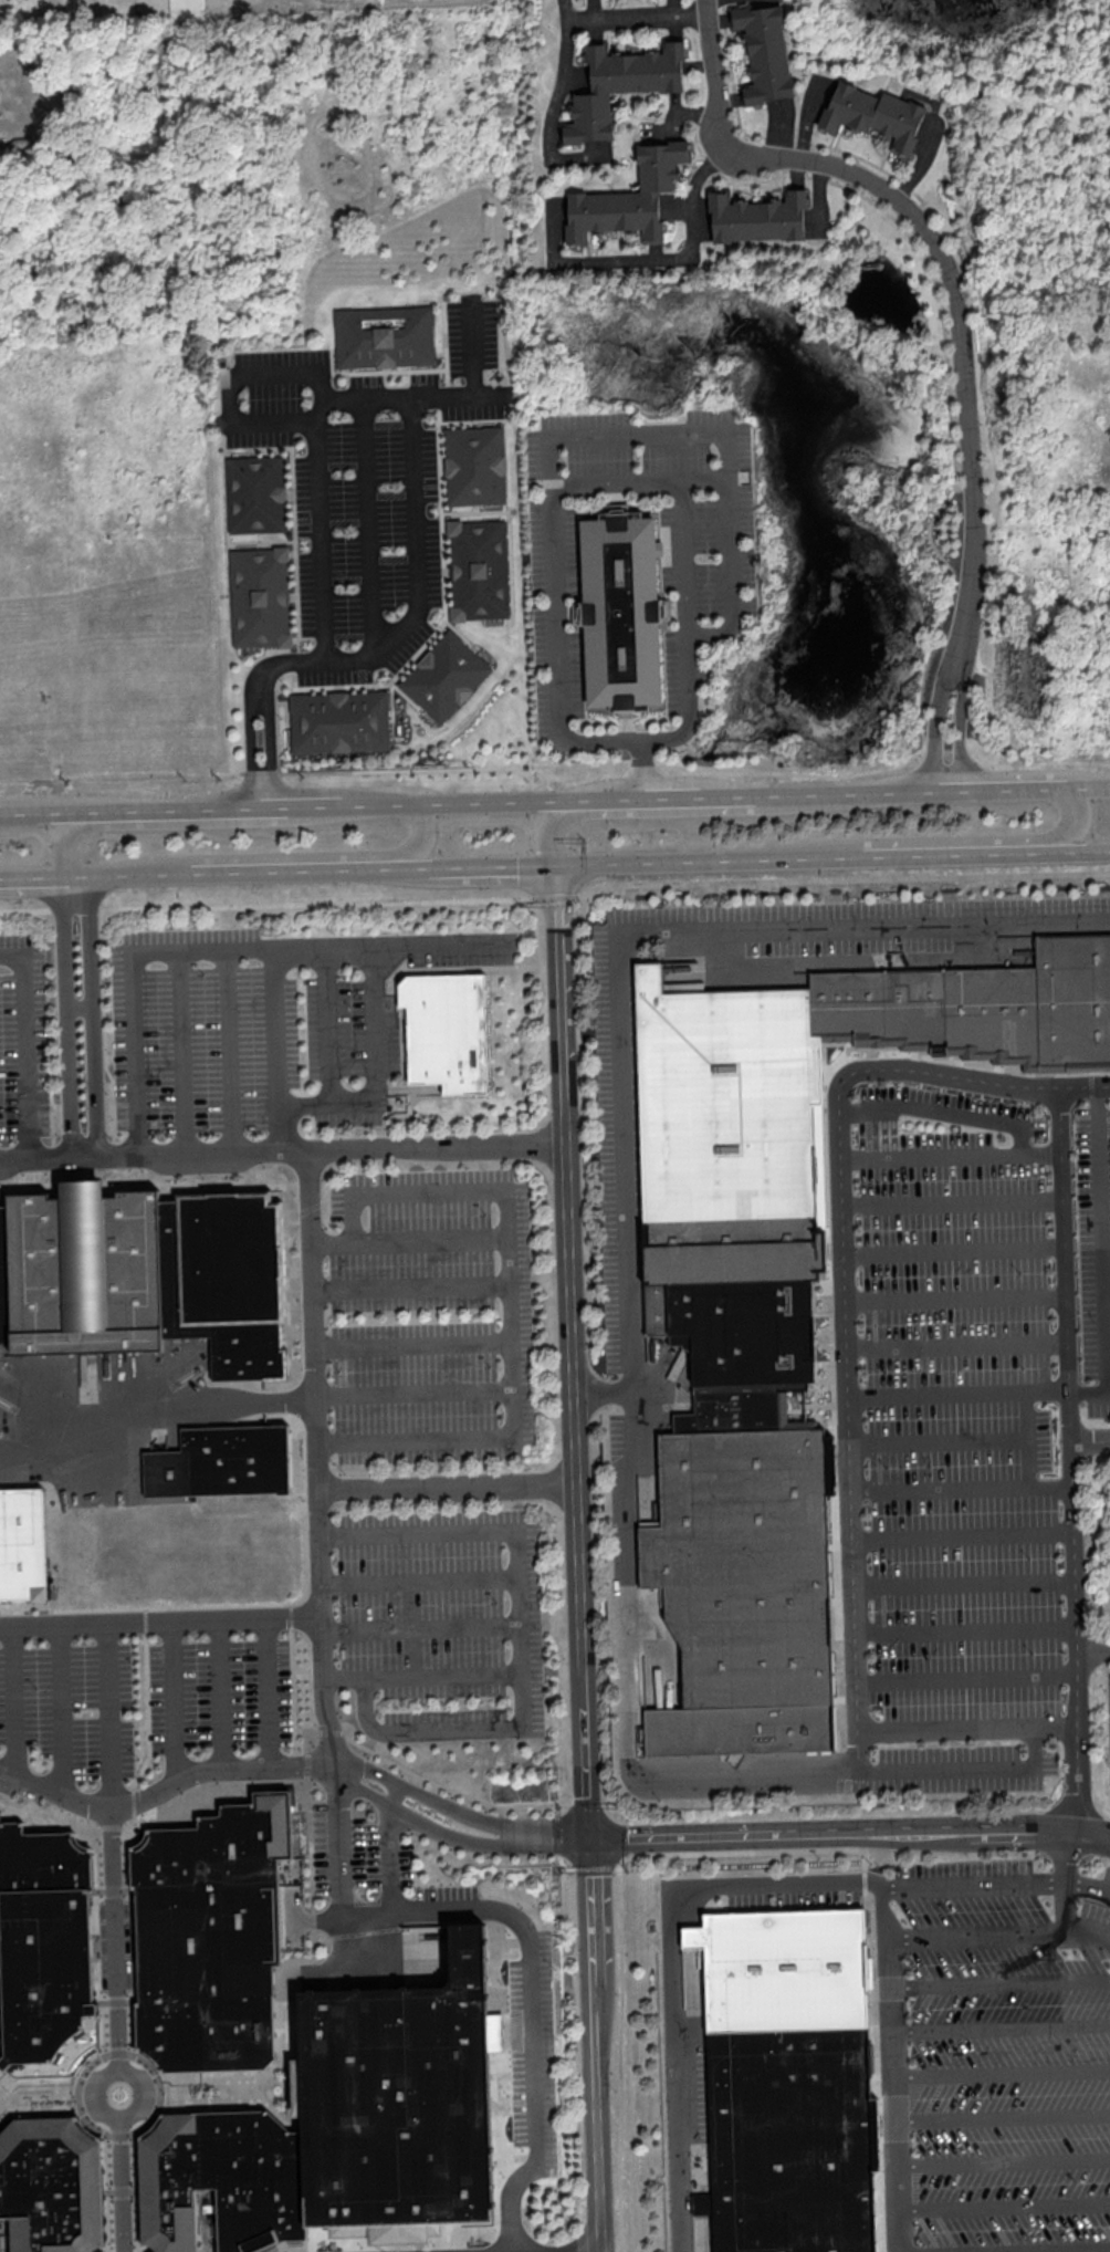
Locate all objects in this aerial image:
road: (629, 13)
building: (765, 52)
building: (621, 84)
road: (561, 85)
road: (304, 95)
building: (873, 114)
road: (790, 140)
road: (388, 189)
road: (350, 197)
building: (630, 198)
building: (757, 217)
road: (684, 257)
road: (941, 259)
road: (939, 300)
building: (385, 335)
road: (472, 345)
road: (227, 383)
road: (459, 394)
road: (408, 403)
road: (726, 441)
building: (475, 463)
road: (638, 479)
building: (255, 493)
road: (369, 522)
road: (683, 556)
building: (479, 570)
building: (260, 597)
building: (622, 612)
road: (557, 650)
road: (955, 667)
building: (444, 676)
road: (688, 707)
road: (250, 720)
building: (339, 721)
road: (269, 727)
road: (621, 761)
road: (640, 768)
road: (1080, 784)
road: (1003, 786)
road: (855, 790)
road: (700, 794)
road: (608, 796)
road: (454, 800)
road: (313, 802)
road: (188, 804)
road: (44, 807)
road: (1077, 817)
road: (548, 832)
road: (428, 833)
road: (69, 843)
road: (1080, 851)
road: (955, 854)
road: (708, 865)
road: (432, 869)
road: (304, 870)
road: (503, 870)
traffic signals: (556, 873)
road: (125, 874)
road: (30, 877)
road: (556, 896)
road: (219, 949)
road: (734, 974)
road: (697, 977)
road: (81, 1008)
road: (66, 1015)
road: (96, 1015)
road: (375, 1023)
road: (324, 1024)
building: (447, 1030)
parking lot: (206, 1033)
parking lot: (25, 1041)
road: (24, 1046)
road: (274, 1049)
road: (228, 1051)
road: (181, 1052)
road: (327, 1103)
road: (942, 1112)
road: (284, 1150)
road: (950, 1154)
road: (385, 1197)
road: (951, 1199)
road: (628, 1222)
road: (1101, 1237)
road: (409, 1240)
road: (953, 1247)
road: (1064, 1264)
building: (146, 1275)
road: (1106, 1282)
road: (410, 1286)
road: (842, 1289)
road: (954, 1295)
building: (783, 1296)
parking lot: (431, 1316)
road: (412, 1343)
road: (955, 1344)
road: (1089, 1388)
road: (956, 1390)
road: (607, 1391)
road: (413, 1393)
road: (151, 1409)
road: (514, 1411)
parking lot: (970, 1425)
road: (1026, 1437)
road: (936, 1439)
road: (316, 1458)
building: (222, 1463)
road: (1049, 1484)
road: (939, 1485)
road: (447, 1488)
road: (962, 1533)
building: (25, 1546)
road: (578, 1562)
road: (419, 1581)
road: (963, 1581)
parking lot: (444, 1615)
road: (1075, 1616)
road: (161, 1620)
road: (965, 1628)
road: (421, 1631)
road: (1093, 1652)
road: (966, 1676)
road: (345, 1677)
road: (269, 1691)
road: (221, 1693)
road: (14, 1701)
road: (175, 1701)
road: (60, 1708)
road: (521, 1710)
road: (109, 1714)
road: (966, 1728)
road: (334, 1731)
road: (308, 1734)
road: (310, 1766)
road: (965, 1768)
road: (446, 1786)
road: (310, 1789)
road: (161, 1790)
road: (395, 1794)
road: (455, 1811)
road: (111, 1827)
road: (849, 1833)
road: (450, 1835)
traffic signals: (588, 1839)
road: (562, 1863)
road: (999, 1886)
road: (1066, 1886)
road: (777, 1890)
road: (97, 1893)
road: (352, 1907)
road: (321, 1918)
road: (1089, 1931)
road: (980, 1933)
building: (212, 1935)
road: (115, 1941)
building: (45, 1952)
building: (690, 1958)
road: (1002, 1982)
road: (531, 2012)
road: (1002, 2025)
parking lot: (994, 2040)
road: (620, 2060)
road: (90, 2064)
road: (1002, 2073)
road: (107, 2078)
building: (792, 2079)
road: (36, 2083)
road: (503, 2093)
road: (232, 2100)
road: (38, 2109)
road: (1002, 2116)
building: (347, 2128)
road: (1003, 2161)
road: (123, 2181)
building: (51, 2185)
road: (547, 2188)
road: (138, 2191)
road: (105, 2192)
building: (702, 2203)
road: (1003, 2206)

